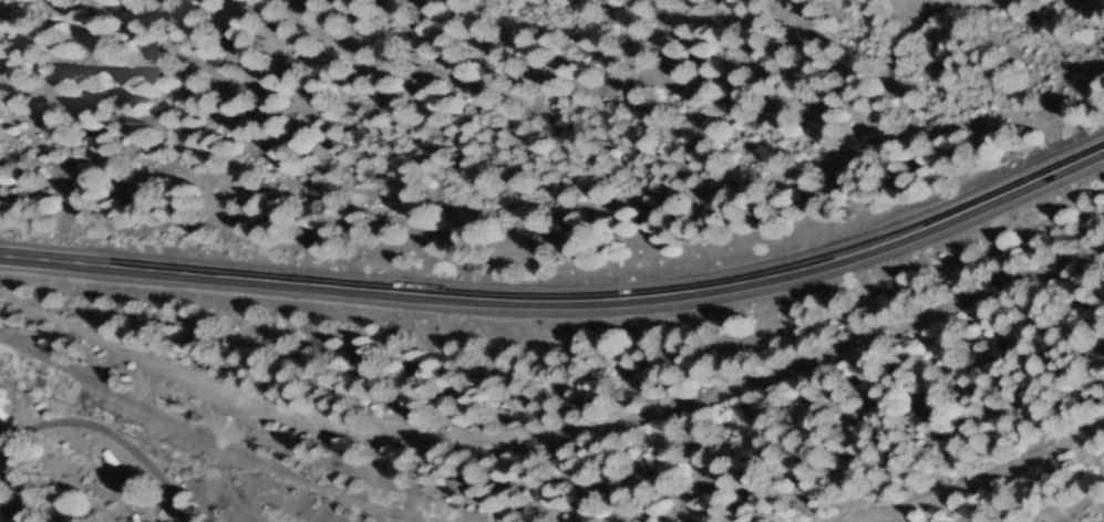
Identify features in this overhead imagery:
road: (1021, 1)
road: (565, 297)
railway: (196, 437)
road: (80, 457)
railway: (979, 470)
road: (1084, 515)

